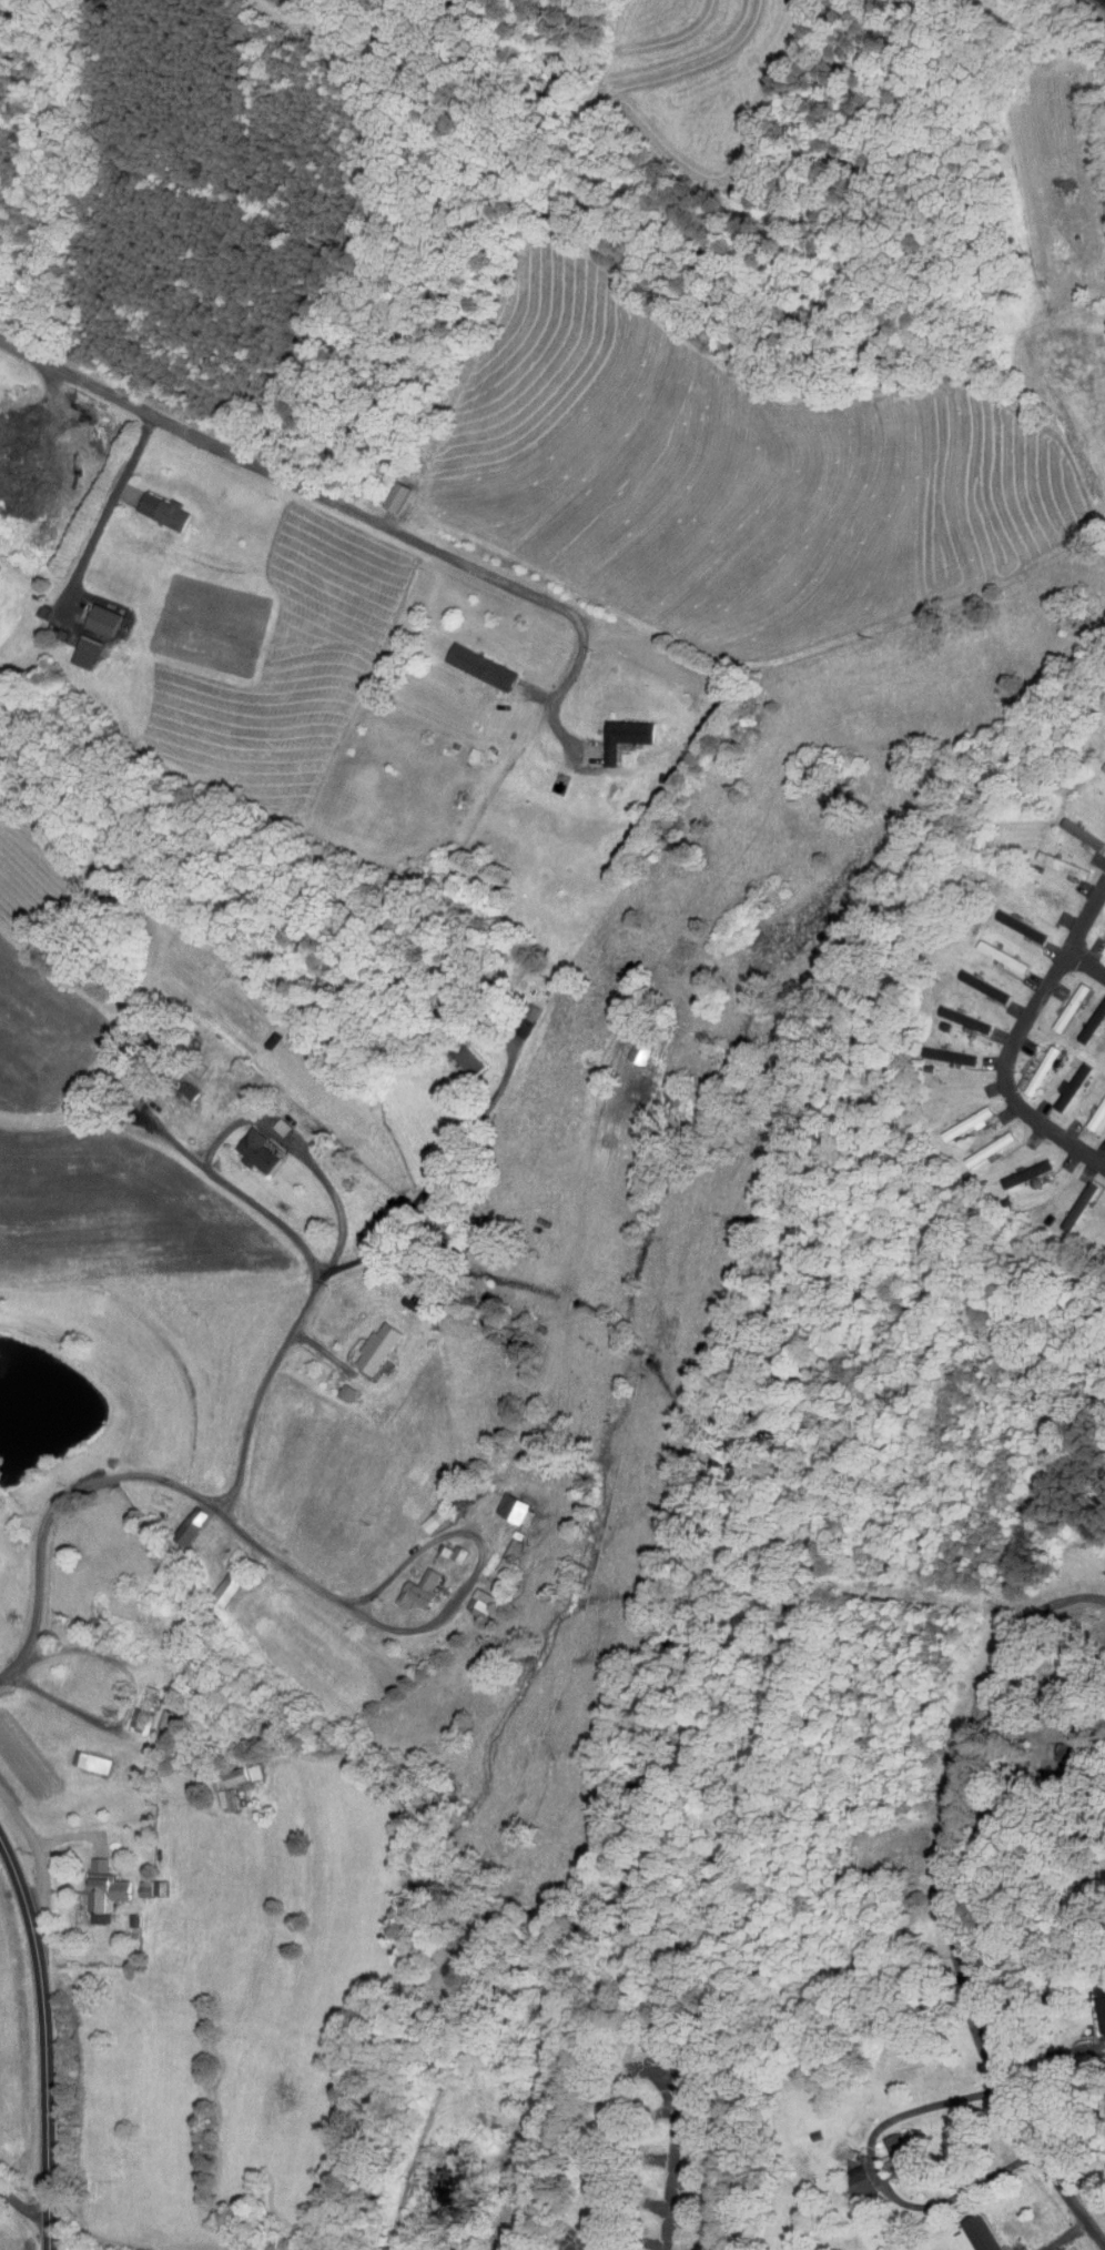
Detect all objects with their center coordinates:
road: (293, 482)
building: (154, 505)
road: (107, 507)
building: (95, 615)
building: (77, 645)
building: (473, 660)
road: (556, 696)
building: (616, 730)
building: (992, 950)
road: (1085, 966)
building: (975, 980)
building: (1061, 1001)
building: (1085, 1012)
building: (955, 1013)
road: (1011, 1040)
building: (630, 1043)
building: (942, 1050)
building: (457, 1053)
building: (1104, 1061)
building: (1028, 1066)
building: (116, 1078)
building: (1060, 1082)
building: (1092, 1102)
building: (956, 1117)
building: (268, 1120)
road: (231, 1127)
building: (980, 1142)
building: (249, 1146)
building: (1017, 1167)
building: (1068, 1200)
building: (368, 1342)
building: (335, 1385)
road: (243, 1434)
building: (453, 1494)
building: (507, 1502)
building: (423, 1514)
building: (182, 1519)
building: (443, 1545)
road: (480, 1558)
road: (275, 1560)
building: (223, 1574)
building: (409, 1584)
building: (474, 1596)
road: (131, 1695)
building: (158, 1713)
building: (82, 1755)
building: (232, 1768)
road: (73, 1835)
road: (40, 1847)
building: (141, 1881)
building: (93, 1884)
road: (1043, 1889)
road: (947, 1904)
road: (1024, 1994)
building: (1095, 2004)
road: (48, 2044)
road: (1042, 2054)
road: (672, 2148)
building: (890, 2149)
building: (845, 2175)
road: (874, 2178)
road: (22, 2214)
building: (971, 2232)
road: (1064, 2237)

